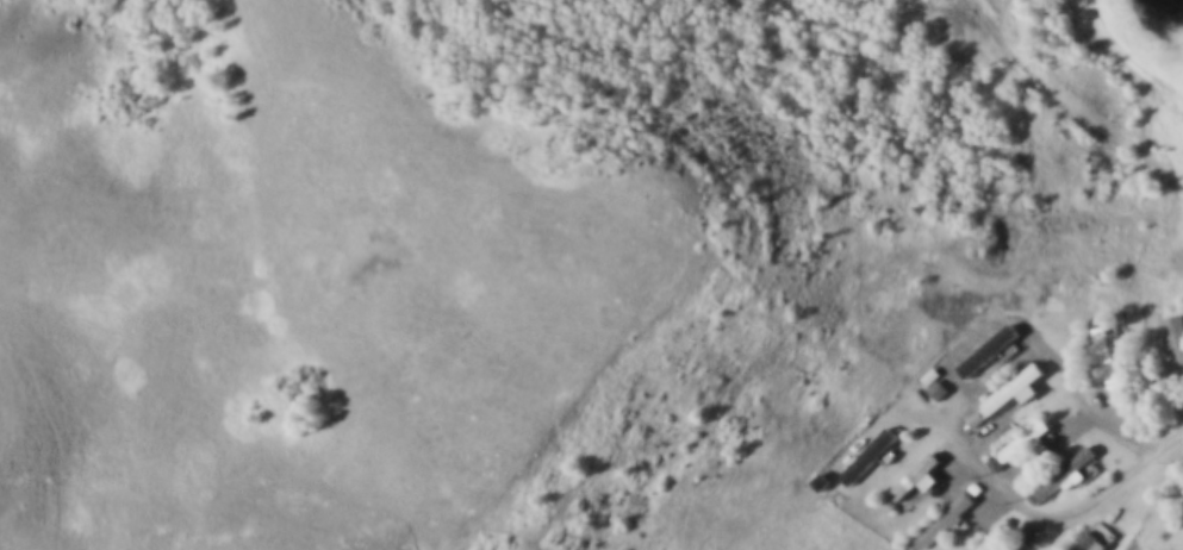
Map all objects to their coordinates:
road: (1066, 104)
building: (1175, 330)
building: (984, 348)
building: (1106, 351)
building: (936, 386)
building: (1000, 393)
building: (1014, 393)
road: (954, 417)
building: (1020, 436)
road: (1173, 445)
building: (868, 450)
building: (1064, 464)
building: (915, 473)
building: (1069, 474)
building: (942, 512)
building: (991, 535)
building: (1091, 536)

